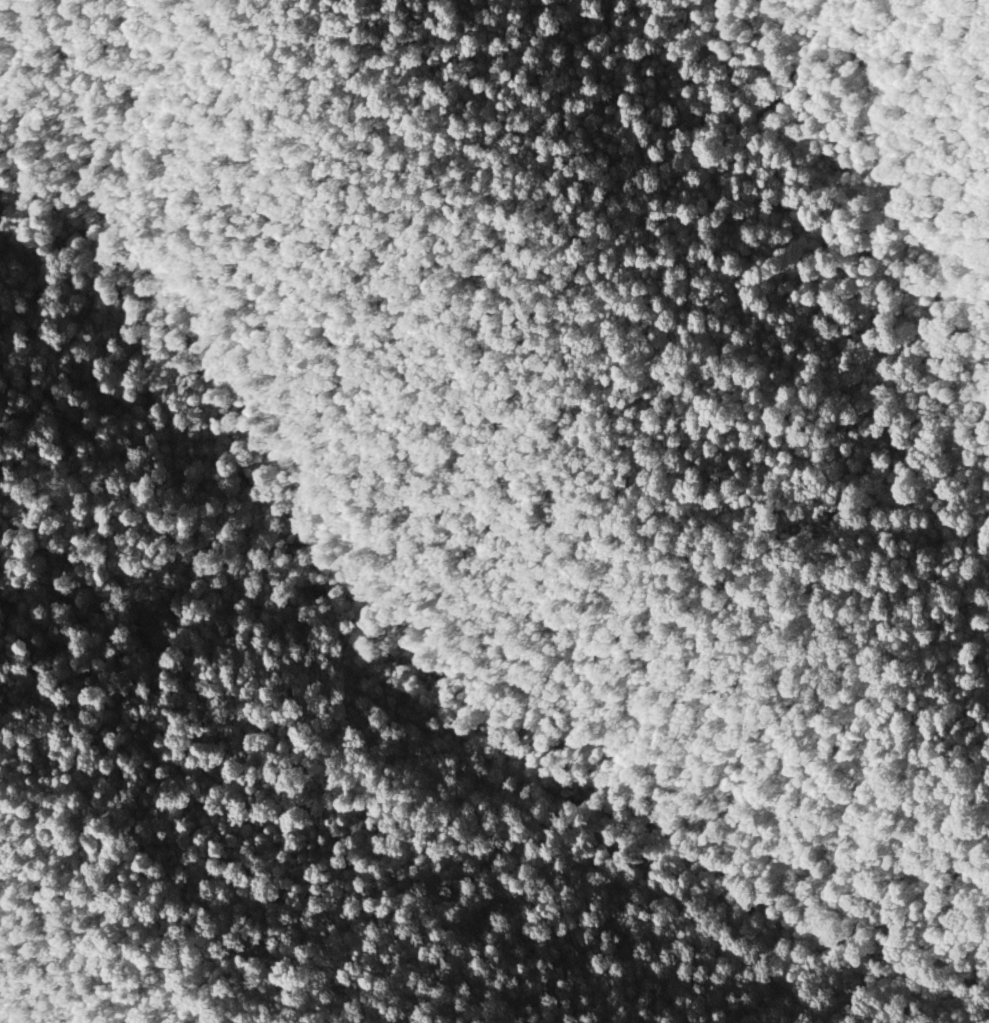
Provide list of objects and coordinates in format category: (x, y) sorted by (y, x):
road: (840, 917)

